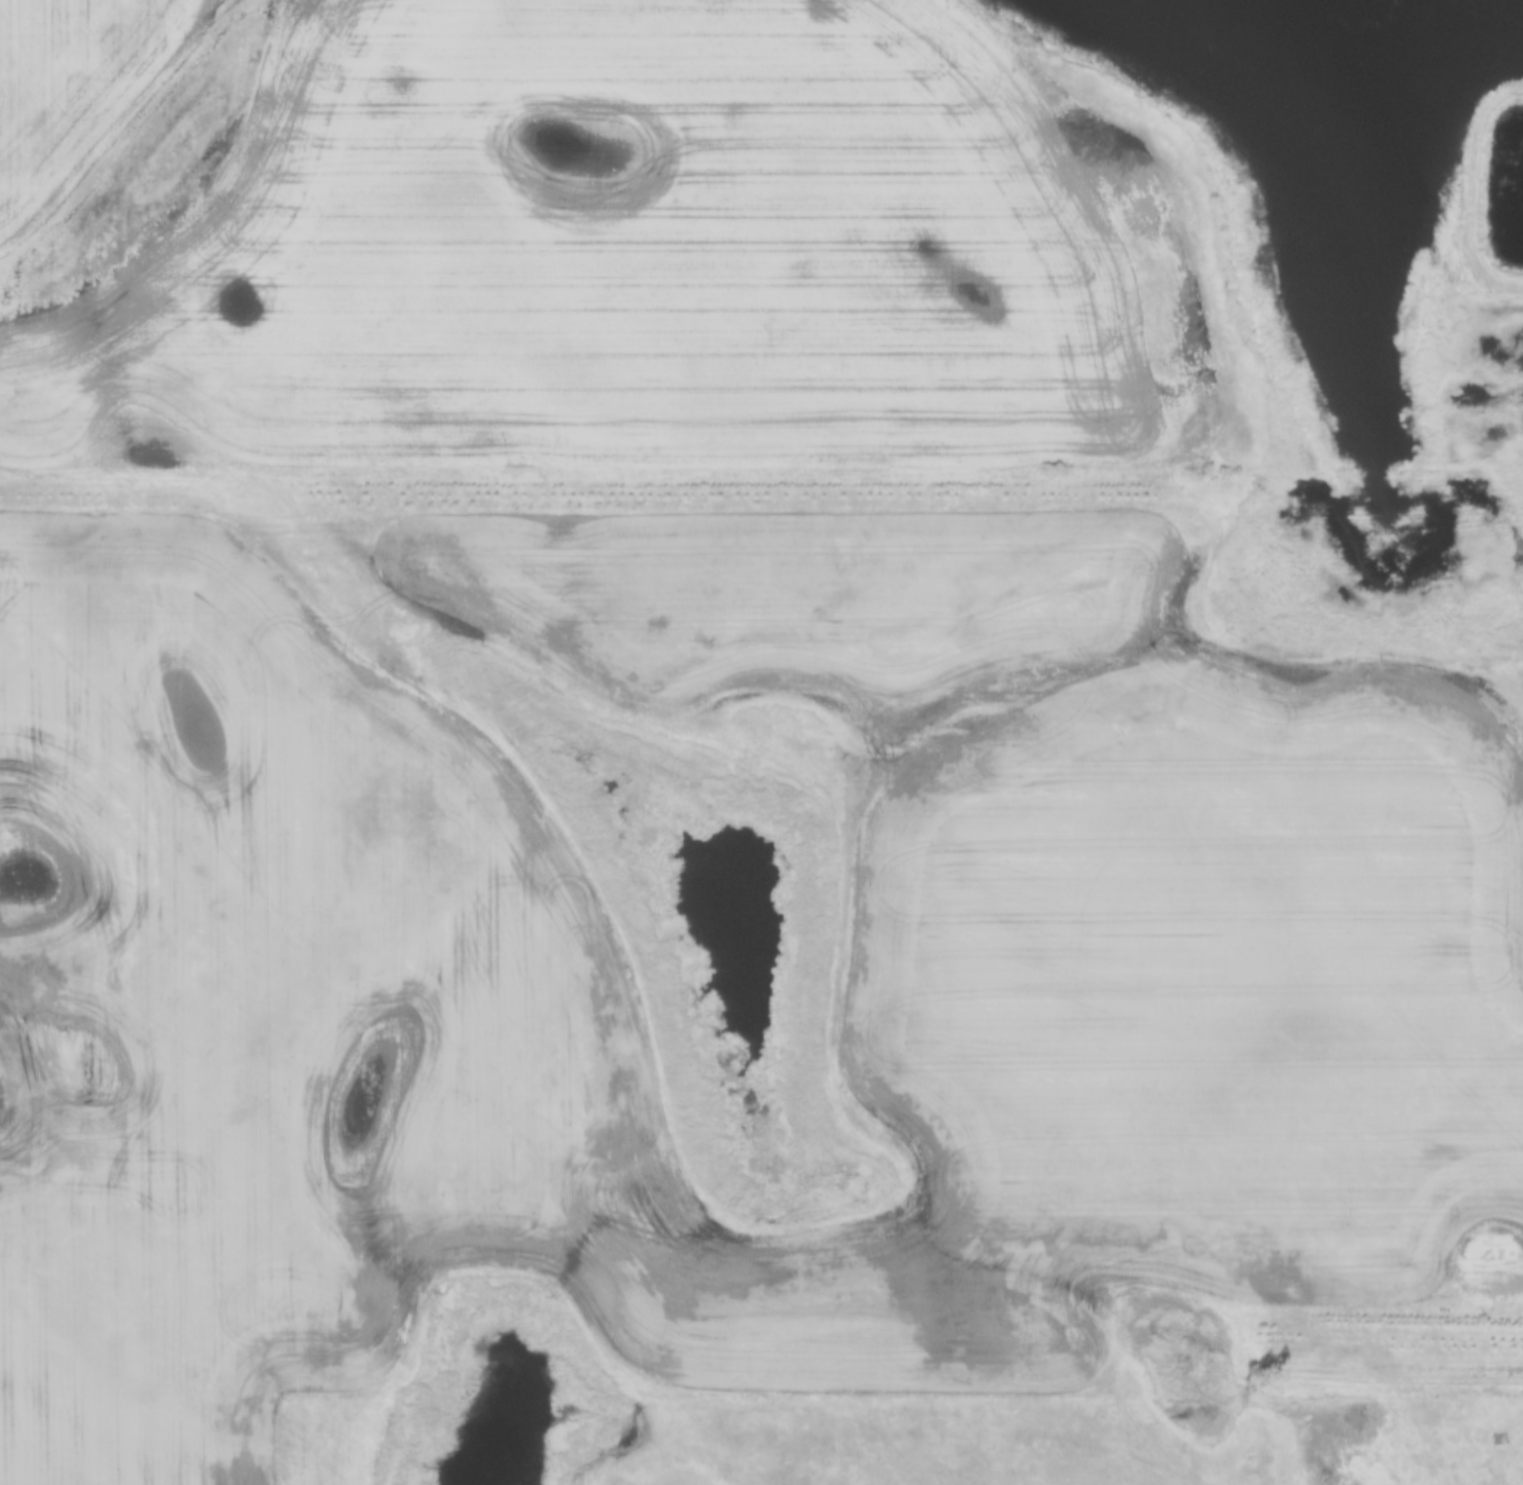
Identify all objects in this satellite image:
building: (1504, 1436)

